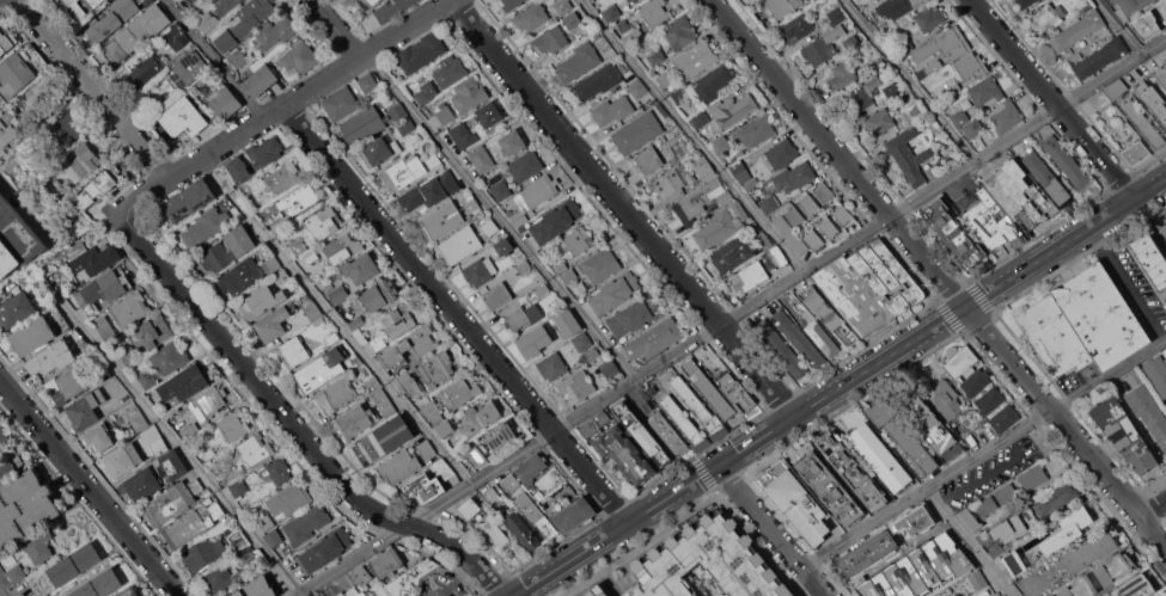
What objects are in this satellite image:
building: (196, 0)
building: (630, 0)
building: (633, 0)
building: (816, 0)
building: (232, 2)
building: (367, 2)
building: (511, 4)
building: (1024, 4)
building: (1075, 5)
building: (1133, 5)
building: (562, 6)
building: (780, 6)
building: (79, 7)
building: (895, 7)
building: (391, 8)
building: (1162, 8)
building: (255, 10)
building: (654, 12)
building: (611, 13)
building: (531, 16)
building: (836, 16)
building: (1048, 16)
building: (929, 17)
building: (110, 19)
building: (572, 20)
building: (206, 21)
building: (1146, 24)
building: (590, 26)
building: (798, 26)
road: (1119, 26)
road: (335, 29)
building: (1076, 31)
building: (274, 32)
building: (677, 33)
building: (134, 35)
building: (596, 36)
building: (633, 36)
building: (6, 37)
building: (177, 37)
building: (226, 37)
building: (550, 39)
building: (645, 42)
building: (853, 42)
building: (823, 45)
building: (905, 45)
building: (941, 45)
building: (421, 51)
building: (655, 55)
building: (299, 57)
building: (1100, 57)
building: (238, 59)
building: (695, 59)
road: (214, 60)
building: (578, 62)
building: (880, 63)
building: (970, 66)
building: (933, 67)
building: (188, 69)
building: (145, 70)
building: (448, 72)
building: (921, 72)
building: (16, 74)
building: (842, 76)
building: (1161, 76)
building: (665, 78)
building: (260, 80)
road: (910, 80)
building: (597, 81)
building: (367, 82)
building: (712, 82)
building: (952, 85)
building: (637, 88)
road: (92, 90)
building: (891, 90)
building: (985, 90)
building: (426, 92)
building: (862, 93)
building: (469, 94)
building: (679, 94)
road: (1052, 99)
road: (592, 100)
building: (1153, 100)
building: (225, 102)
building: (340, 103)
road: (286, 104)
building: (612, 110)
building: (733, 110)
building: (916, 110)
building: (663, 111)
building: (396, 112)
building: (1134, 112)
building: (445, 113)
building: (488, 113)
building: (960, 113)
building: (1007, 116)
building: (698, 118)
building: (887, 119)
building: (187, 121)
building: (361, 125)
building: (405, 125)
building: (11, 128)
building: (971, 129)
building: (66, 130)
building: (756, 130)
building: (637, 131)
building: (463, 135)
road: (691, 135)
building: (512, 142)
building: (720, 143)
building: (379, 148)
building: (265, 150)
building: (679, 150)
building: (1136, 152)
building: (782, 153)
building: (909, 154)
building: (432, 156)
building: (481, 159)
building: (83, 160)
building: (647, 160)
building: (1069, 165)
building: (525, 166)
building: (237, 167)
building: (702, 171)
building: (740, 171)
building: (403, 172)
building: (283, 176)
building: (794, 177)
building: (1046, 178)
building: (104, 183)
building: (672, 183)
building: (248, 188)
building: (500, 190)
building: (429, 191)
building: (823, 191)
building: (724, 197)
building: (532, 198)
building: (187, 199)
building: (298, 199)
building: (470, 202)
building: (695, 202)
building: (769, 203)
building: (808, 204)
road: (625, 207)
road: (28, 209)
building: (739, 210)
building: (1028, 213)
building: (843, 215)
road: (501, 216)
building: (794, 216)
building: (441, 220)
building: (555, 220)
building: (324, 222)
building: (990, 222)
building: (1161, 223)
building: (206, 226)
building: (489, 227)
building: (828, 227)
building: (276, 228)
building: (715, 229)
building: (952, 233)
building: (790, 234)
building: (17, 238)
building: (813, 239)
building: (576, 241)
building: (765, 241)
building: (1164, 244)
building: (460, 245)
building: (503, 246)
building: (297, 247)
building: (341, 247)
building: (227, 250)
building: (732, 253)
building: (779, 254)
building: (1150, 258)
building: (93, 259)
building: (311, 260)
building: (271, 264)
building: (600, 265)
building: (524, 266)
building: (361, 268)
building: (560, 268)
building: (480, 271)
road: (939, 271)
building: (568, 275)
building: (240, 276)
building: (281, 276)
building: (750, 276)
road: (1121, 277)
building: (579, 287)
building: (868, 287)
building: (105, 288)
building: (542, 290)
road: (6, 293)
building: (381, 293)
building: (613, 293)
building: (338, 295)
building: (496, 295)
building: (304, 296)
building: (263, 301)
building: (1165, 305)
building: (130, 308)
building: (16, 309)
building: (313, 313)
road: (456, 314)
building: (828, 314)
building: (524, 315)
road: (732, 315)
building: (634, 317)
building: (401, 318)
road: (340, 320)
building: (274, 321)
building: (356, 322)
building: (1083, 322)
building: (567, 324)
building: (105, 328)
building: (152, 331)
building: (32, 336)
building: (331, 338)
building: (798, 338)
building: (822, 338)
building: (654, 339)
building: (533, 340)
building: (582, 342)
building: (378, 343)
building: (781, 348)
building: (423, 349)
building: (293, 351)
building: (592, 352)
building: (1165, 352)
building: (128, 355)
building: (54, 356)
building: (164, 363)
building: (553, 365)
building: (609, 368)
building: (322, 369)
building: (435, 369)
building: (967, 370)
building: (1156, 374)
building: (102, 375)
building: (402, 377)
building: (184, 382)
building: (67, 385)
building: (373, 385)
building: (576, 386)
road: (840, 388)
building: (708, 389)
building: (421, 393)
building: (460, 393)
building: (336, 394)
building: (739, 397)
building: (945, 398)
building: (210, 400)
building: (990, 400)
building: (384, 403)
building: (696, 405)
building: (85, 410)
building: (880, 411)
building: (433, 412)
building: (1148, 412)
building: (136, 418)
building: (478, 418)
building: (1005, 418)
building: (682, 419)
building: (353, 420)
building: (594, 424)
building: (233, 425)
road: (295, 425)
building: (445, 428)
building: (933, 428)
building: (189, 430)
building: (667, 432)
building: (1123, 432)
building: (2, 435)
building: (500, 435)
building: (643, 435)
building: (99, 437)
building: (865, 438)
building: (381, 440)
building: (159, 446)
road: (181, 448)
building: (255, 448)
building: (912, 448)
building: (426, 449)
building: (208, 454)
building: (624, 455)
building: (476, 456)
road: (985, 457)
building: (118, 461)
building: (172, 465)
building: (398, 466)
building: (442, 468)
building: (531, 468)
building: (6, 469)
building: (279, 471)
building: (851, 472)
building: (230, 477)
building: (1033, 477)
building: (511, 483)
building: (142, 484)
road: (88, 485)
building: (238, 487)
building: (423, 487)
building: (829, 489)
building: (1007, 493)
building: (493, 496)
building: (1056, 497)
building: (289, 500)
building: (171, 502)
building: (794, 502)
building: (985, 506)
building: (24, 508)
building: (470, 509)
building: (569, 512)
building: (536, 515)
road: (1156, 515)
building: (476, 517)
building: (970, 520)
building: (265, 522)
building: (191, 524)
building: (306, 524)
building: (1005, 529)
building: (1068, 529)
building: (493, 530)
building: (523, 530)
road: (770, 530)
building: (273, 537)
building: (238, 539)
building: (884, 541)
road: (975, 543)
building: (39, 547)
building: (326, 548)
building: (1001, 548)
building: (244, 552)
building: (1087, 552)
building: (203, 553)
building: (1030, 555)
building: (707, 560)
building: (386, 561)
building: (74, 564)
building: (946, 571)
building: (1107, 571)
building: (16, 573)
building: (362, 576)
building: (220, 578)
building: (413, 579)
building: (978, 579)
building: (99, 584)
building: (871, 586)
building: (260, 588)
building: (1136, 588)
building: (922, 589)
road: (4, 590)
building: (129, 591)
building: (597, 591)
building: (1058, 592)
building: (237, 594)
building: (361, 594)
building: (905, 594)
building: (1159, 595)

